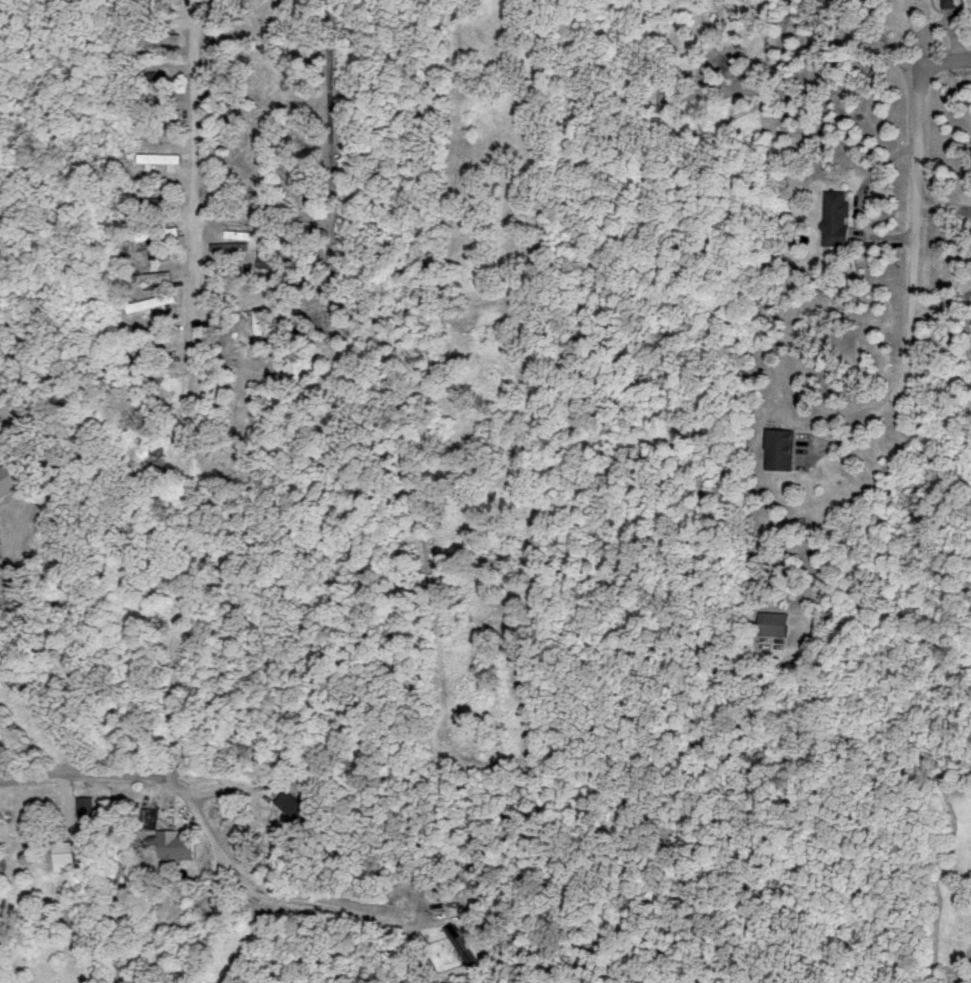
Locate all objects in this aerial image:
building: (954, 3)
building: (154, 12)
building: (166, 36)
building: (162, 113)
road: (918, 128)
road: (195, 146)
building: (162, 157)
building: (839, 217)
building: (160, 232)
building: (271, 260)
building: (156, 277)
building: (153, 301)
building: (263, 328)
building: (154, 338)
road: (905, 368)
building: (785, 448)
building: (12, 478)
building: (1, 548)
building: (776, 622)
road: (85, 780)
road: (16, 803)
building: (89, 805)
building: (297, 805)
building: (178, 845)
building: (67, 854)
road: (256, 893)

